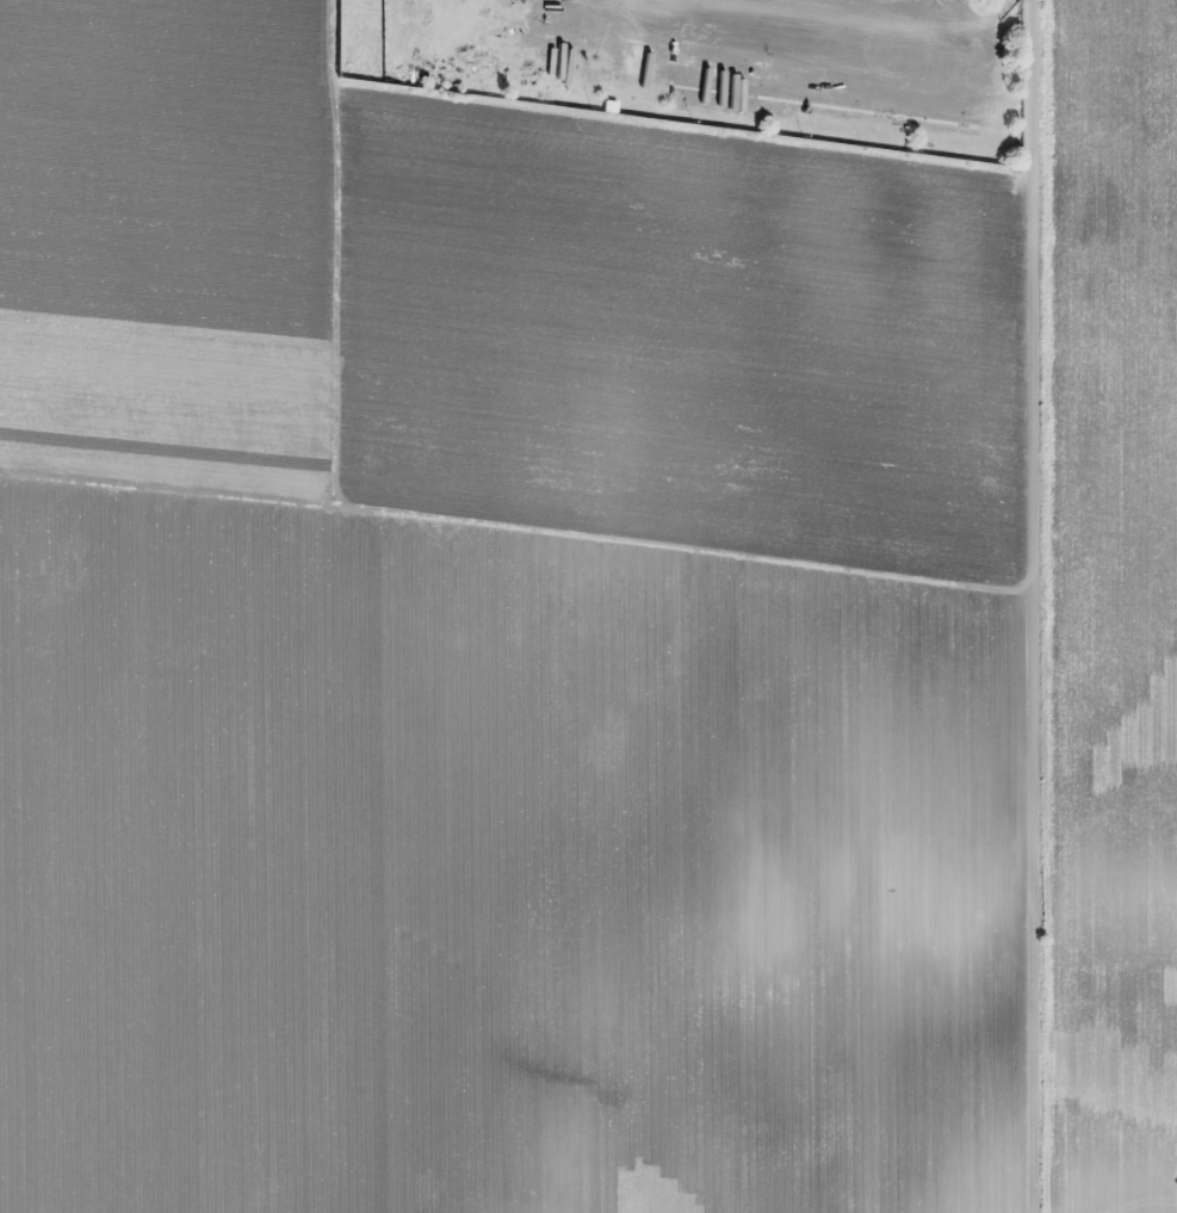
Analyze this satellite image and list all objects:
road: (1033, 76)

